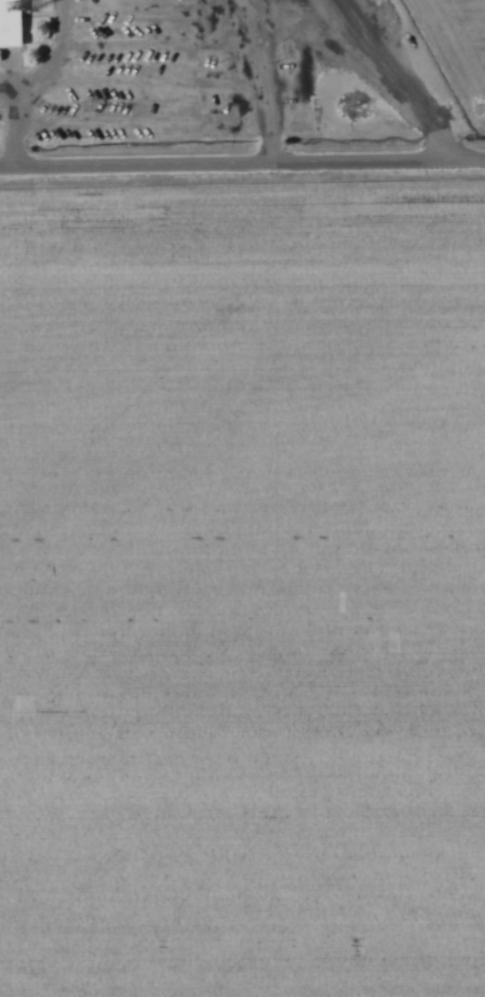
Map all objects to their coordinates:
building: (12, 23)
parking lot: (181, 76)
road: (391, 81)
road: (29, 82)
road: (7, 91)
road: (211, 122)
road: (273, 144)
road: (242, 166)
crop: (242, 588)

